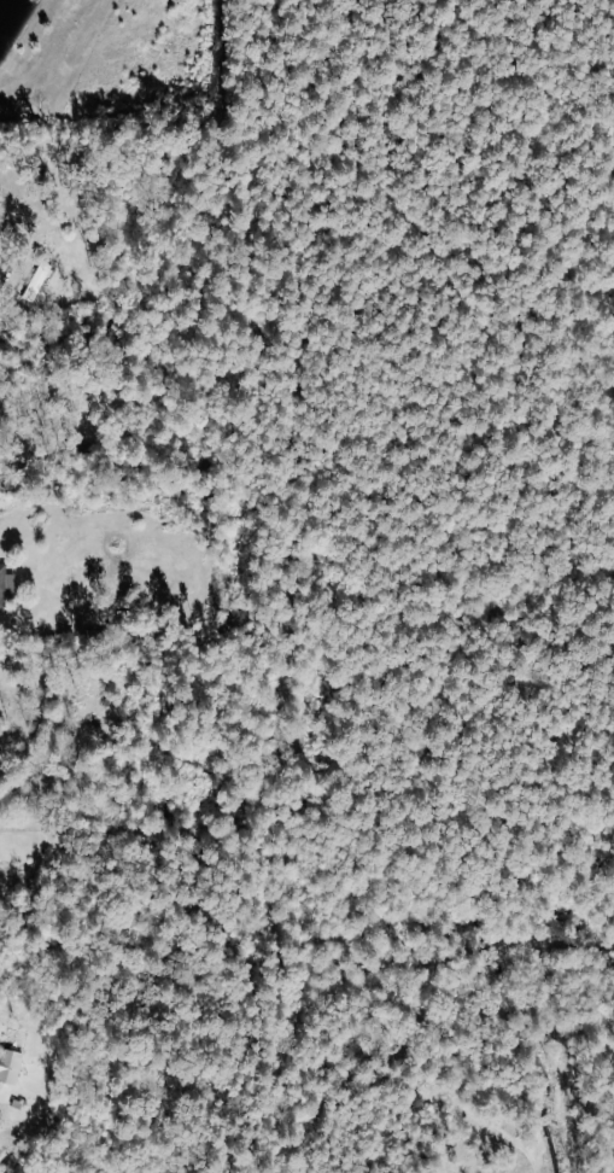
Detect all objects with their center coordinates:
building: (11, 1066)

